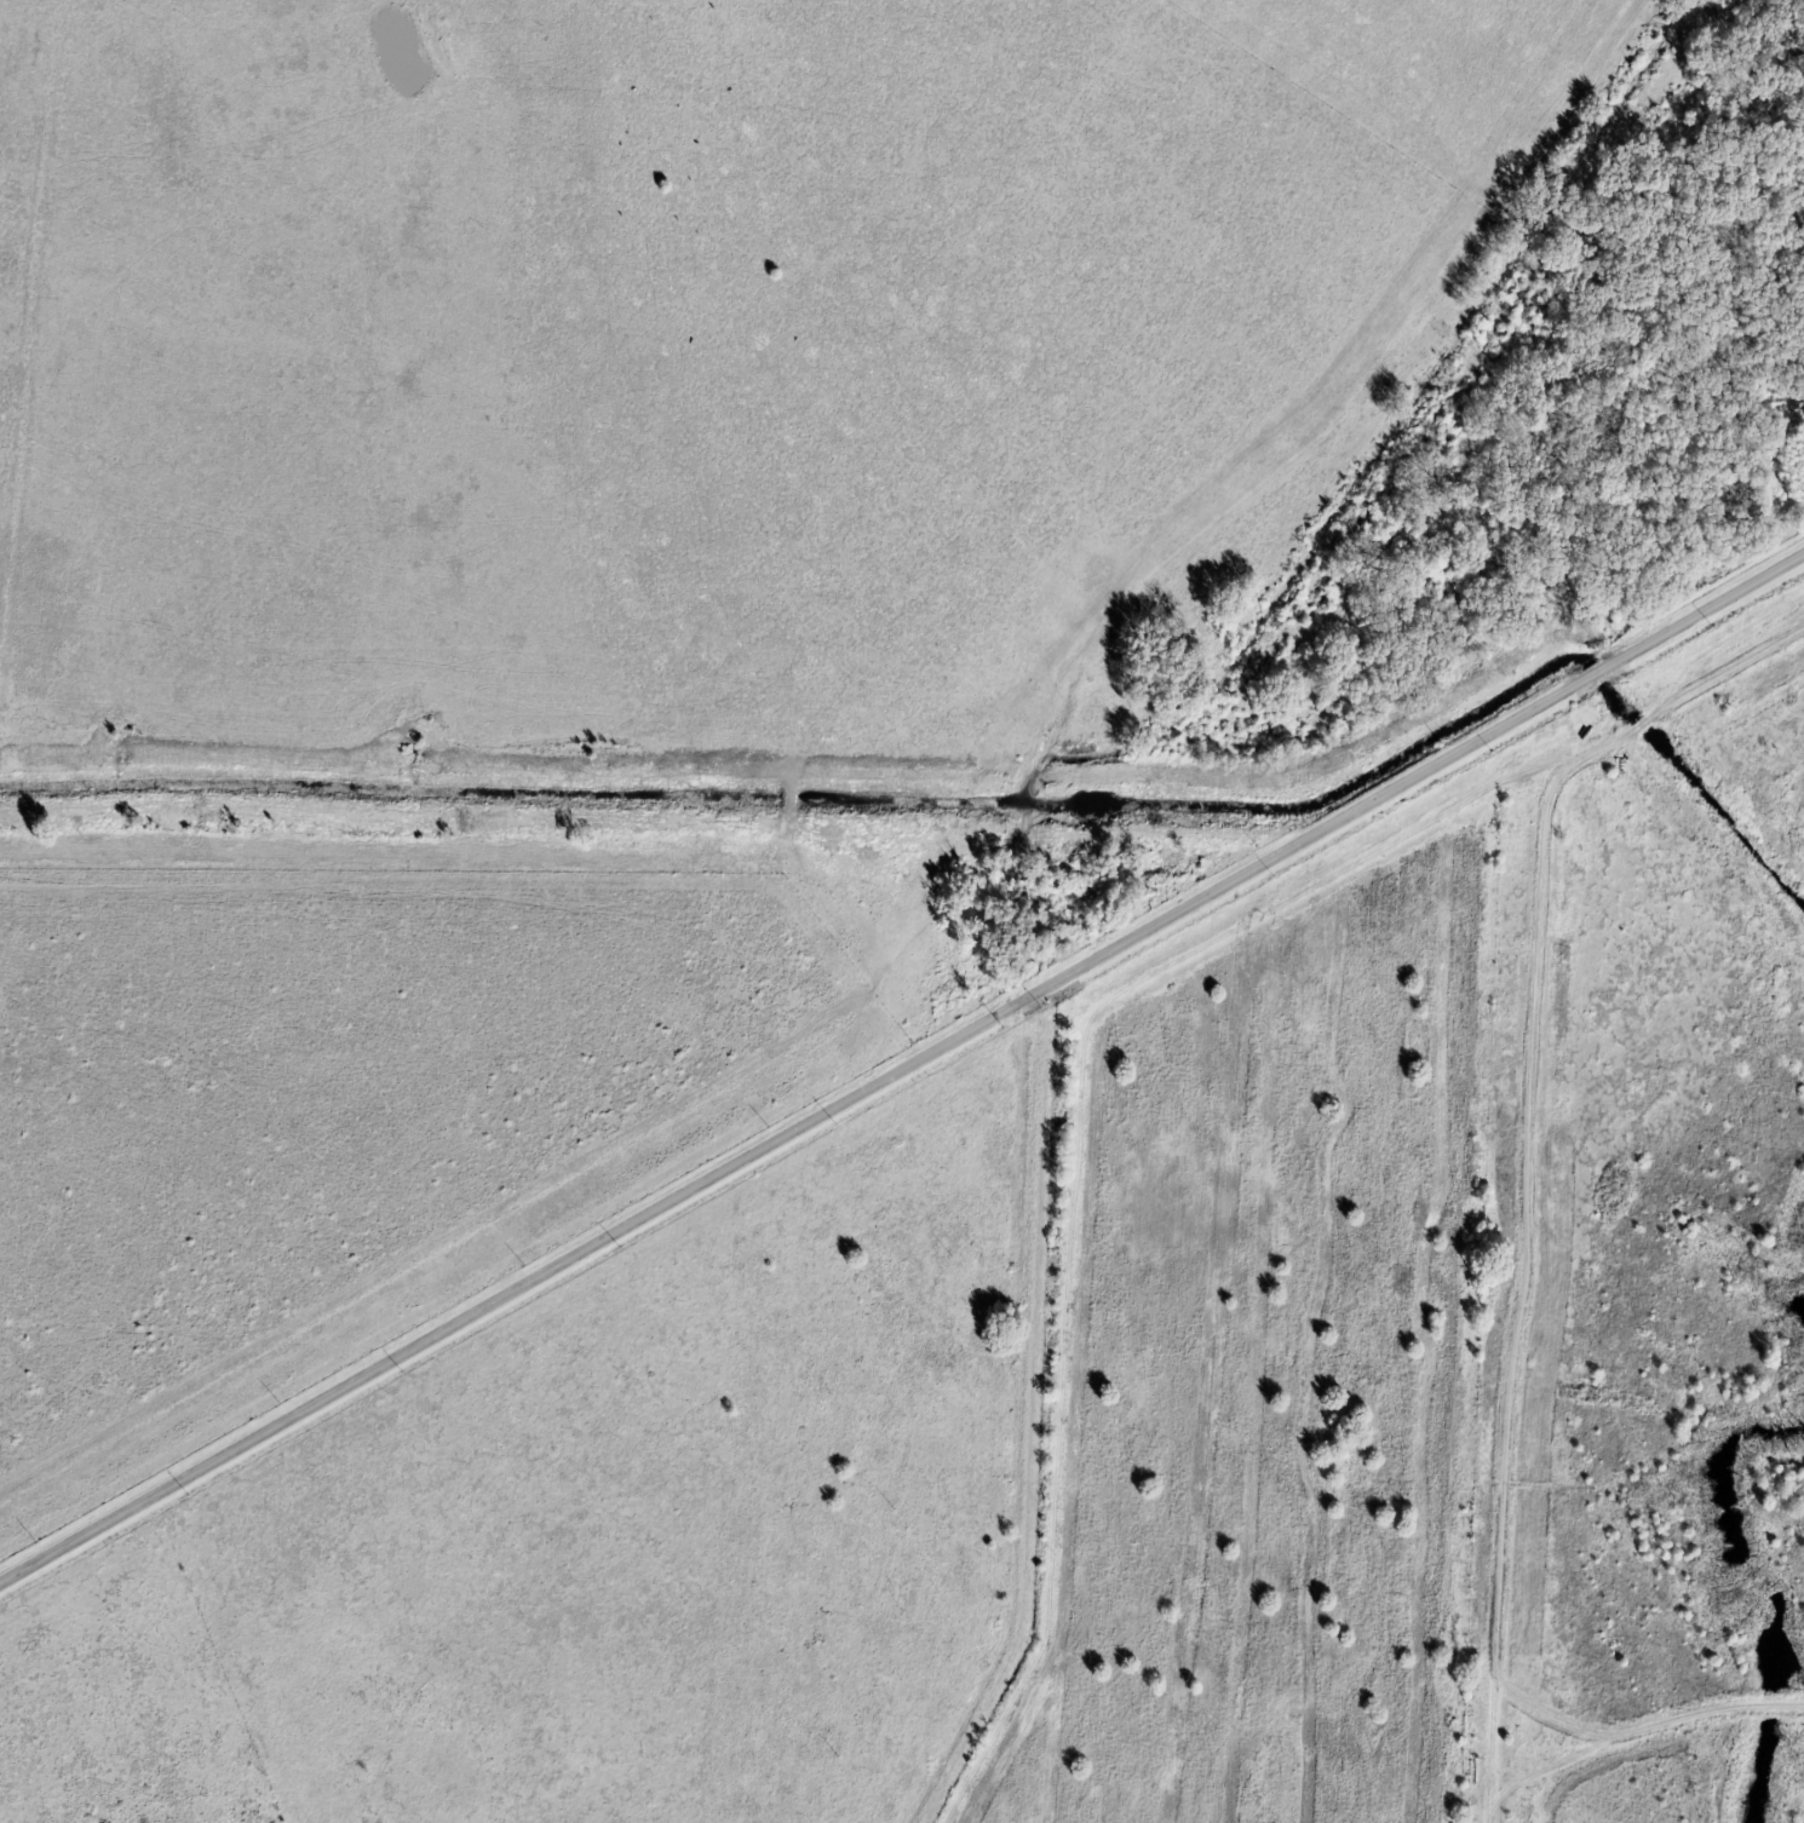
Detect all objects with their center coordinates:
road: (1700, 609)
road: (1065, 1012)
road: (795, 1120)

